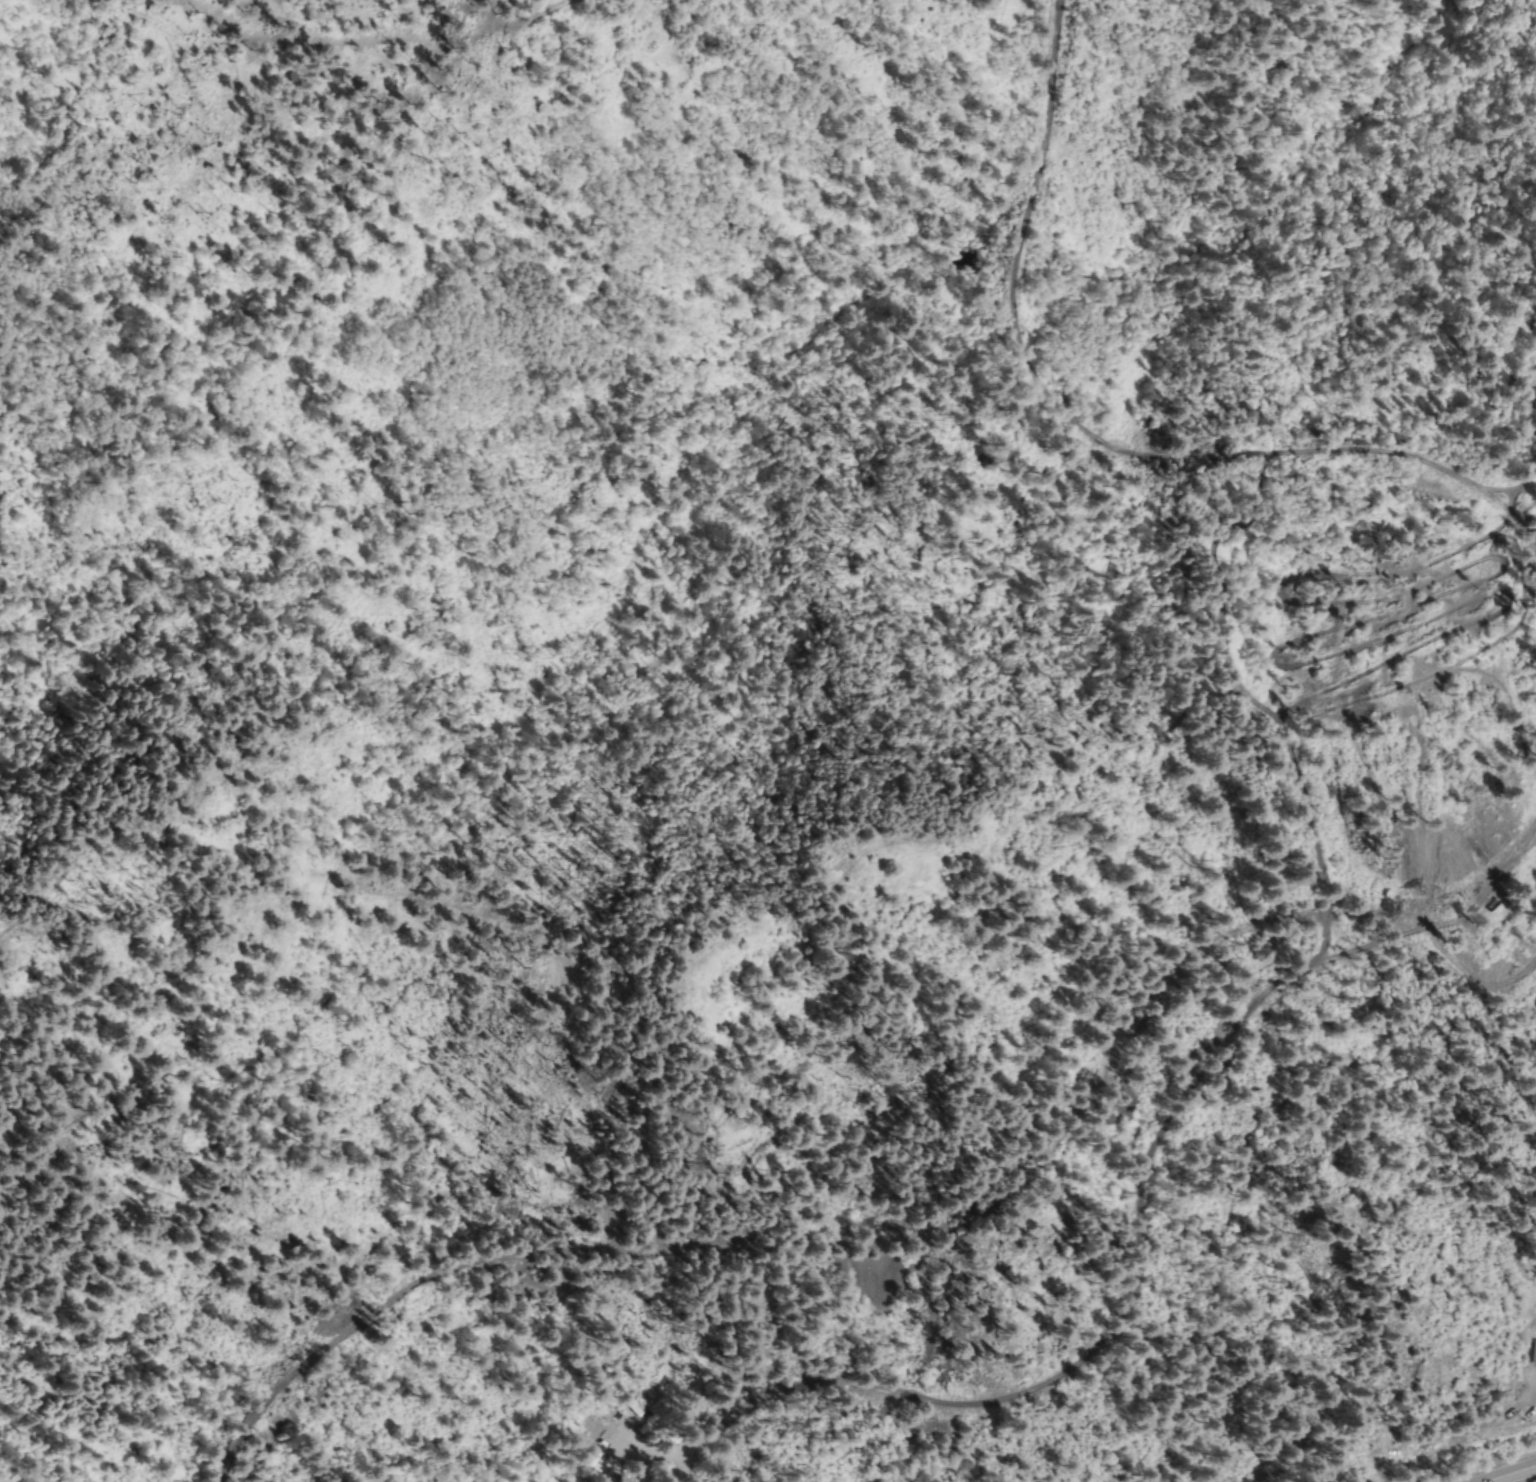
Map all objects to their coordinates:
road: (1081, 419)
building: (1535, 1356)
road: (1512, 1474)

